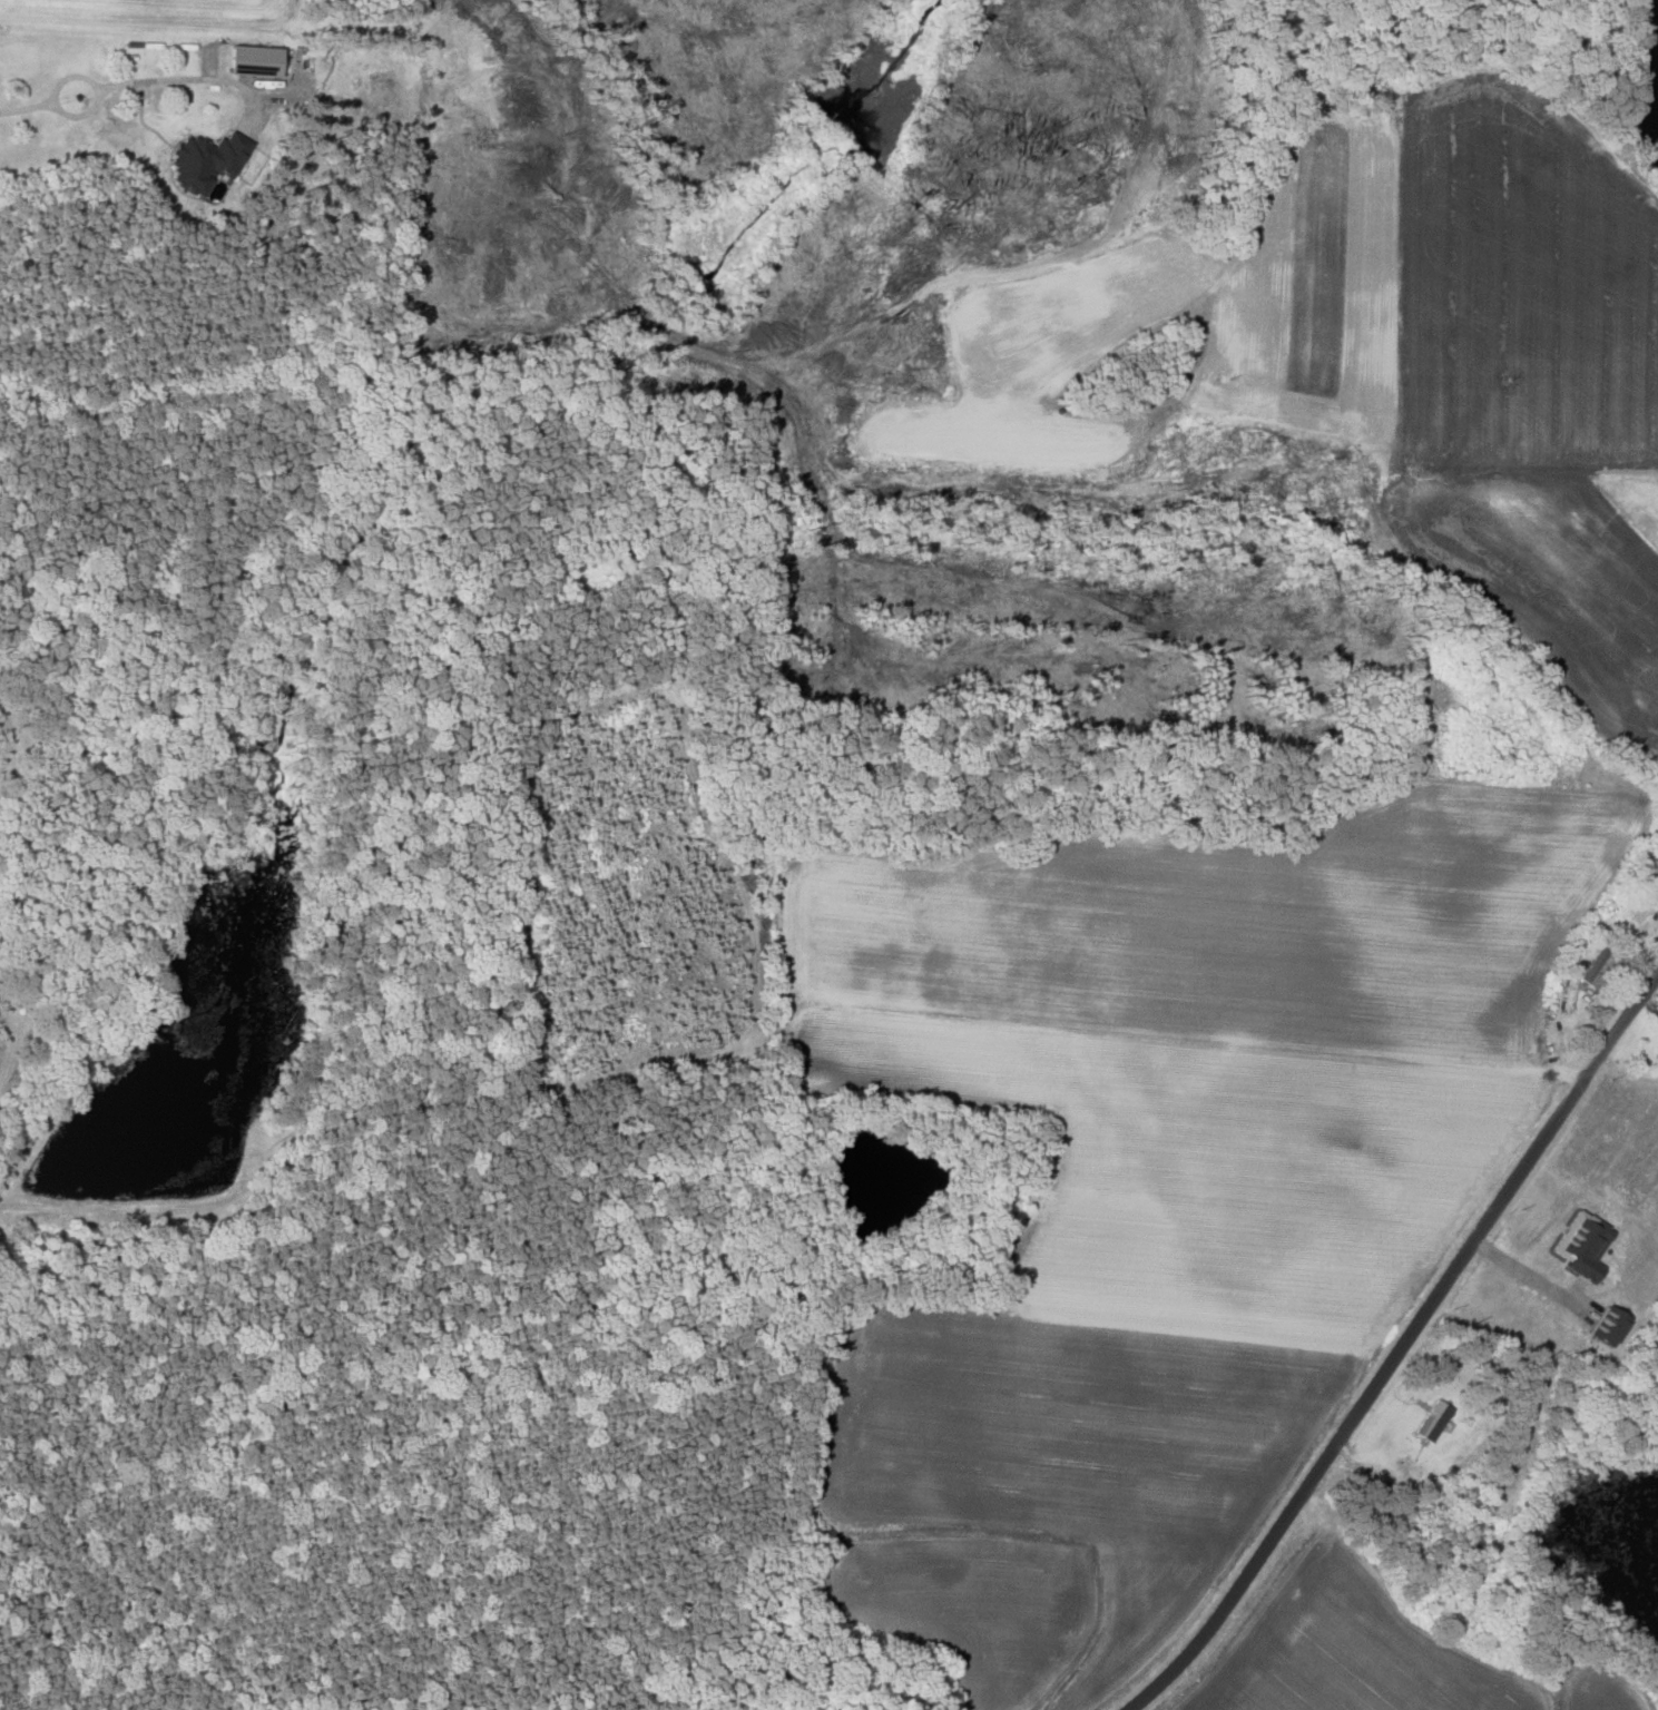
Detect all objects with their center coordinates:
building: (251, 60)
road: (134, 81)
building: (202, 160)
building: (1646, 908)
building: (1596, 962)
road: (1531, 1277)
road: (1400, 1349)
building: (1433, 1419)

